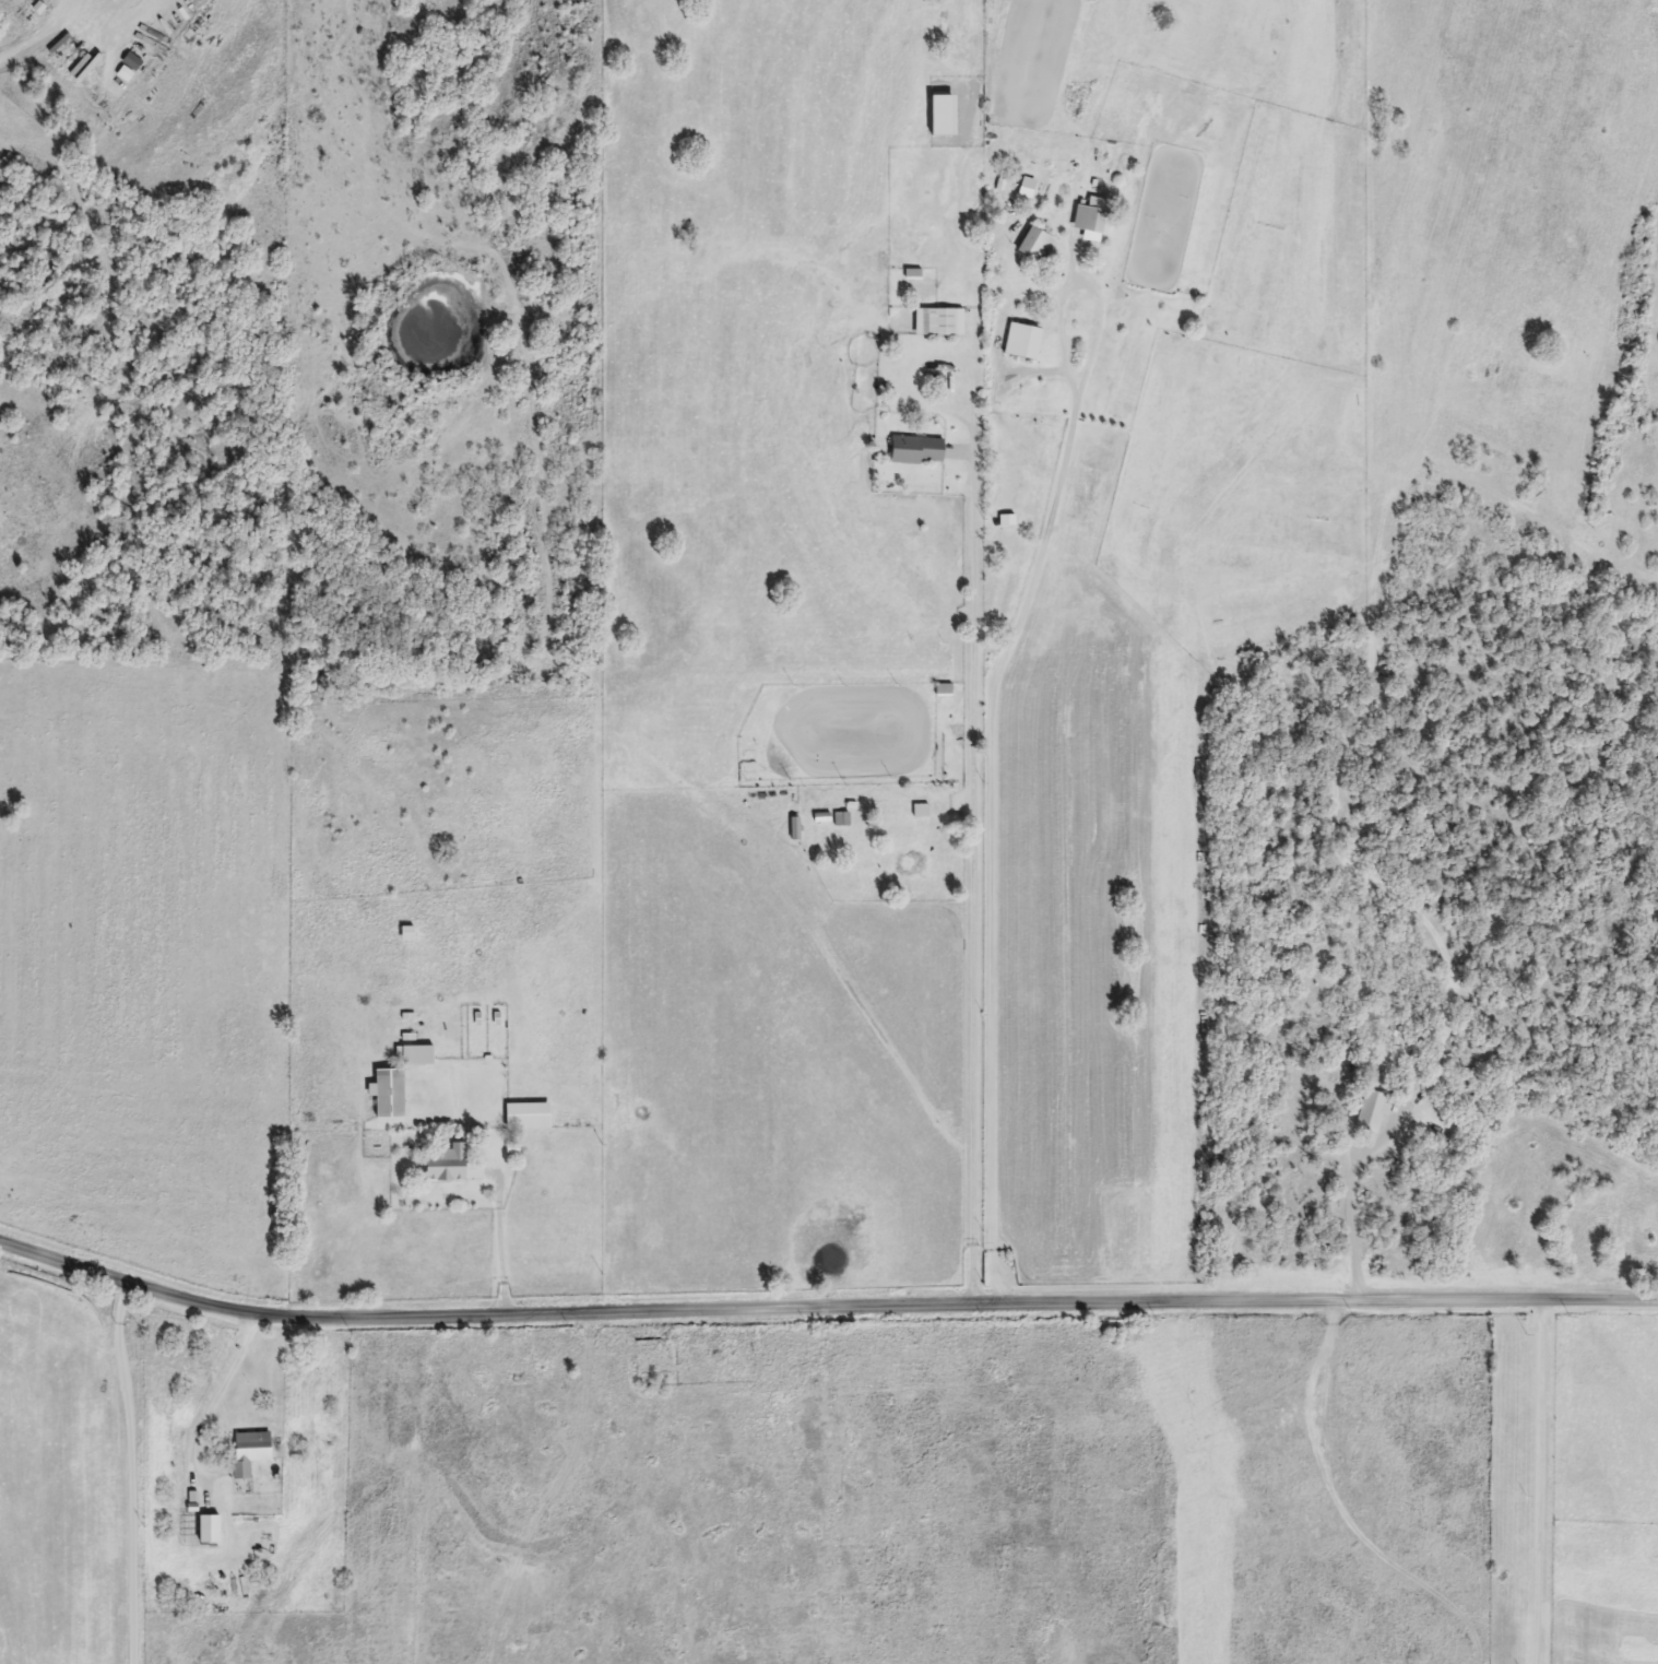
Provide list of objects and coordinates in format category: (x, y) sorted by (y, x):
road: (23, 49)
building: (85, 91)
building: (1089, 223)
building: (1035, 246)
building: (939, 322)
building: (1022, 342)
building: (916, 451)
building: (944, 689)
road: (992, 716)
building: (794, 829)
road: (972, 869)
building: (406, 934)
building: (417, 1055)
building: (388, 1093)
building: (1371, 1112)
building: (526, 1117)
building: (450, 1165)
road: (1349, 1202)
road: (500, 1248)
road: (59, 1264)
road: (1599, 1303)
road: (827, 1313)
road: (211, 1403)
building: (249, 1452)
road: (129, 1473)
road: (1535, 1483)

